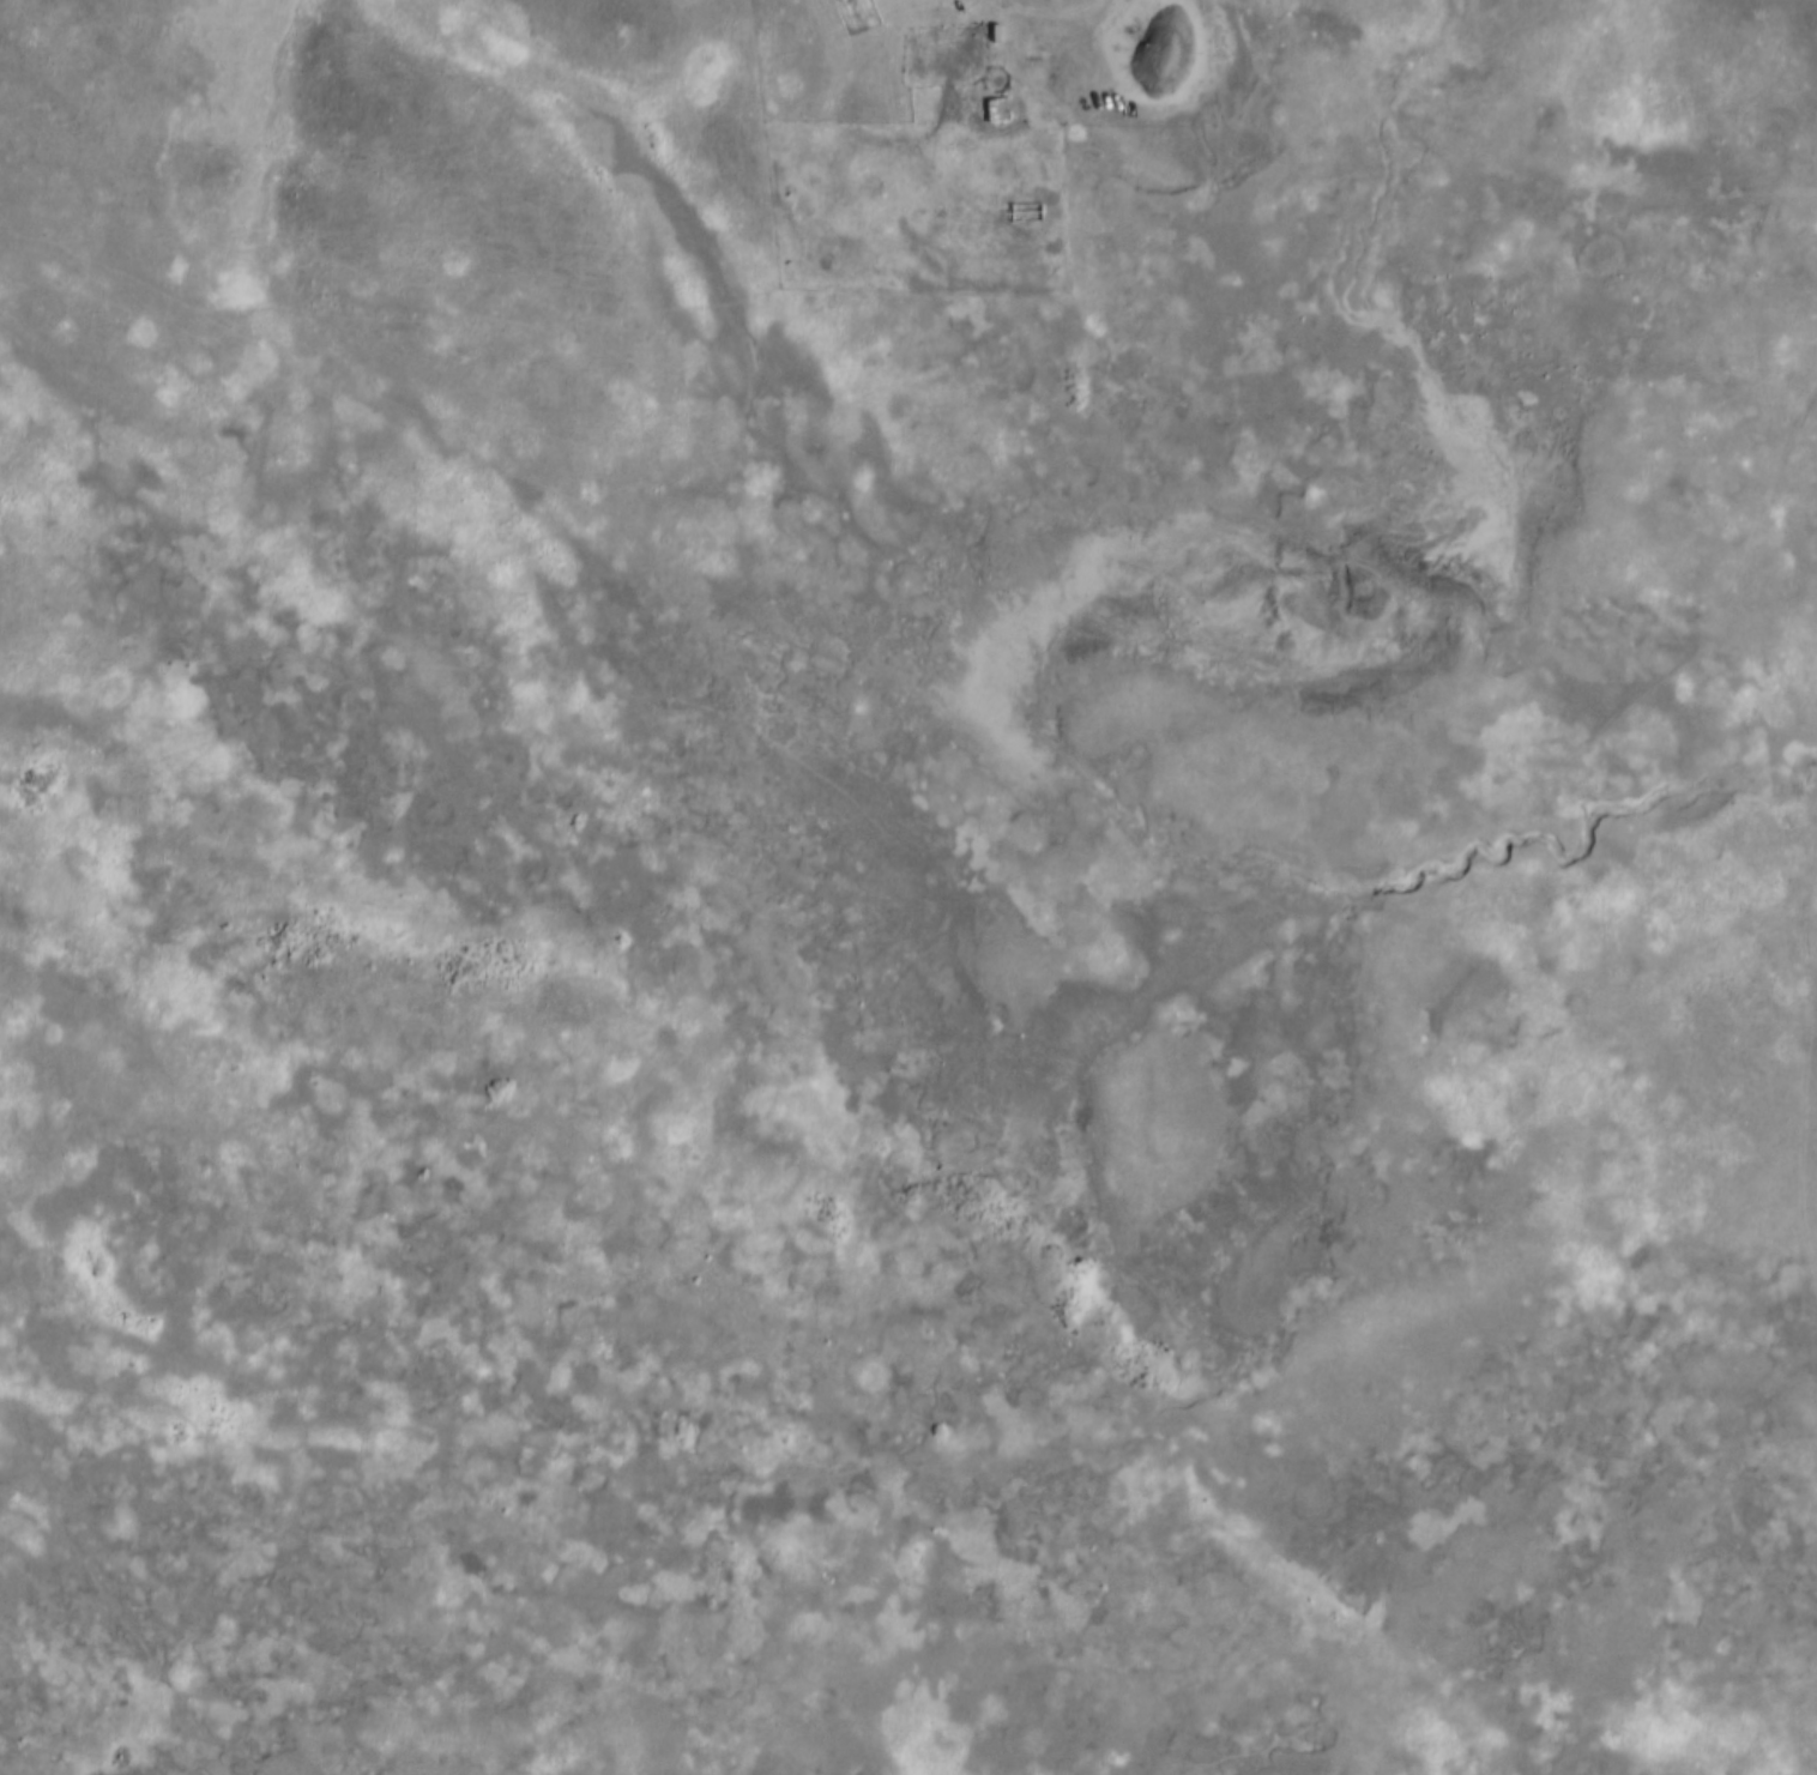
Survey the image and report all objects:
road: (1779, 497)
road: (1801, 1043)

